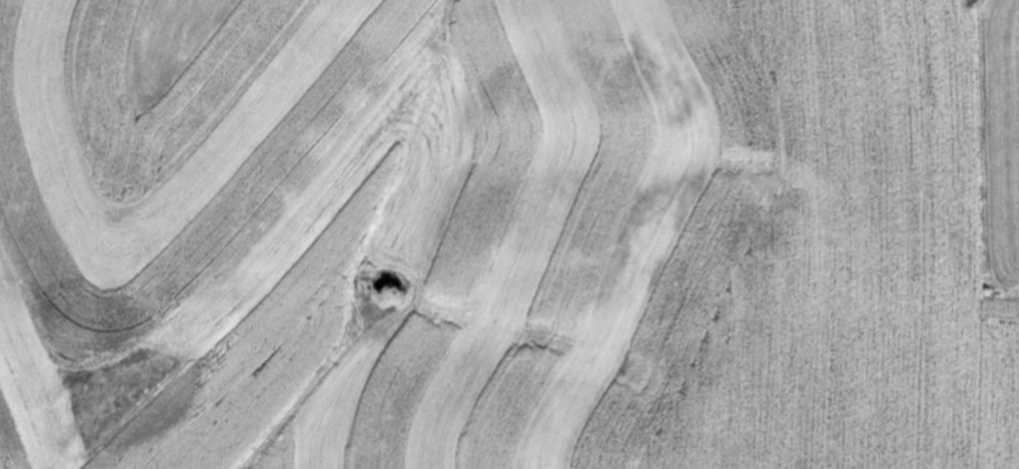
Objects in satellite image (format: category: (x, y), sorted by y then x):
road: (342, 277)

